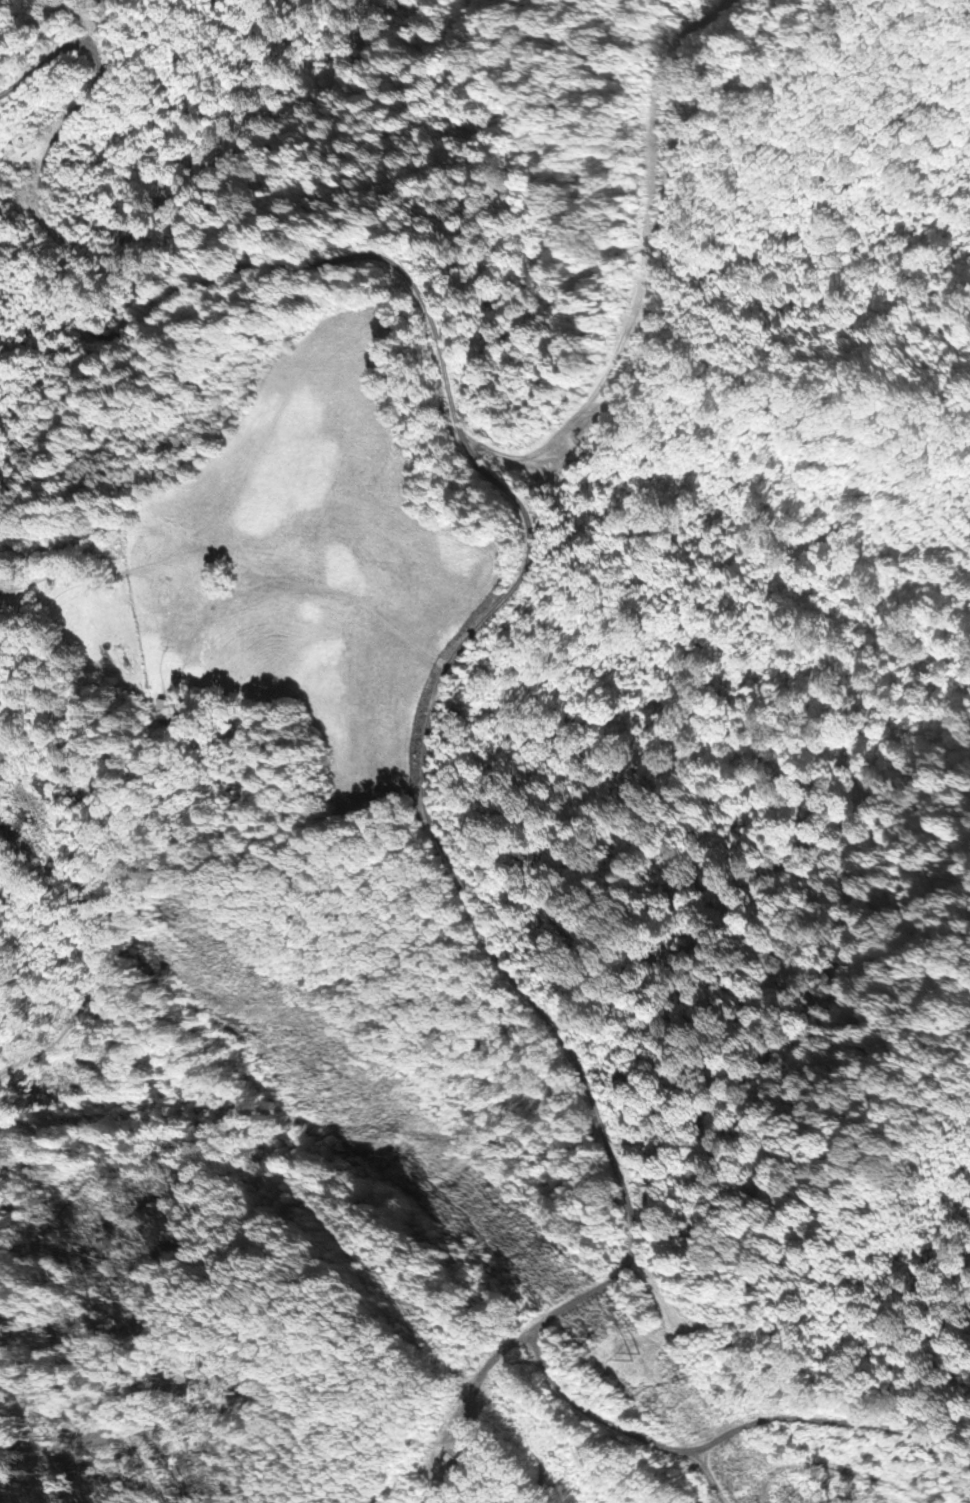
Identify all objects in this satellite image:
road: (410, 280)
building: (171, 709)
road: (507, 970)
road: (836, 1424)
road: (619, 1427)

